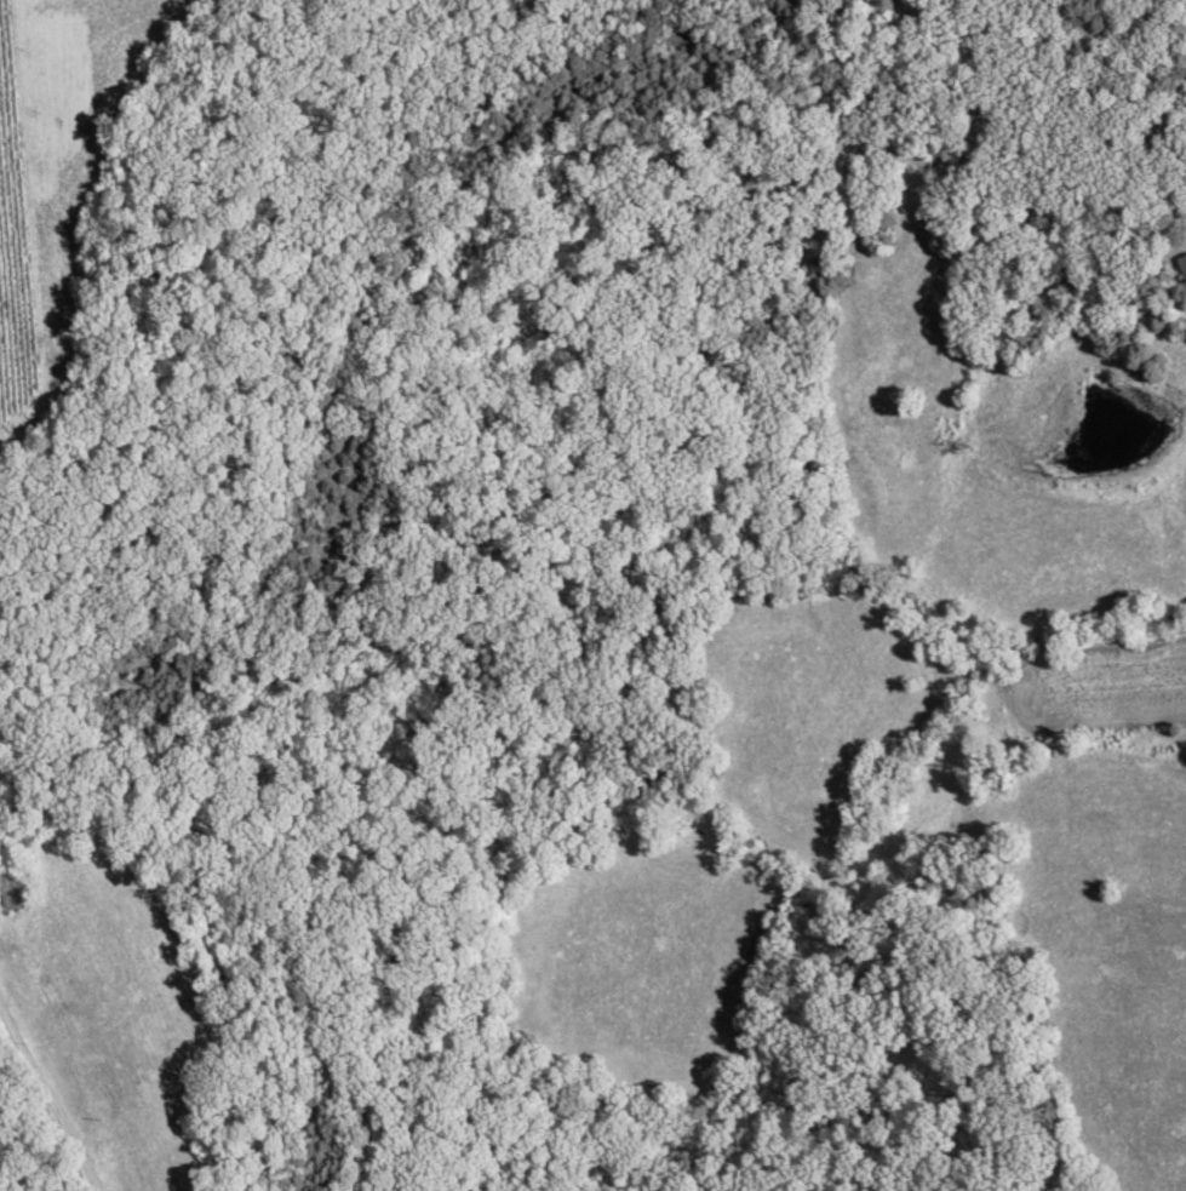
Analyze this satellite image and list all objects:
road: (833, 151)
building: (1181, 269)
building: (71, 1044)
road: (47, 1098)

